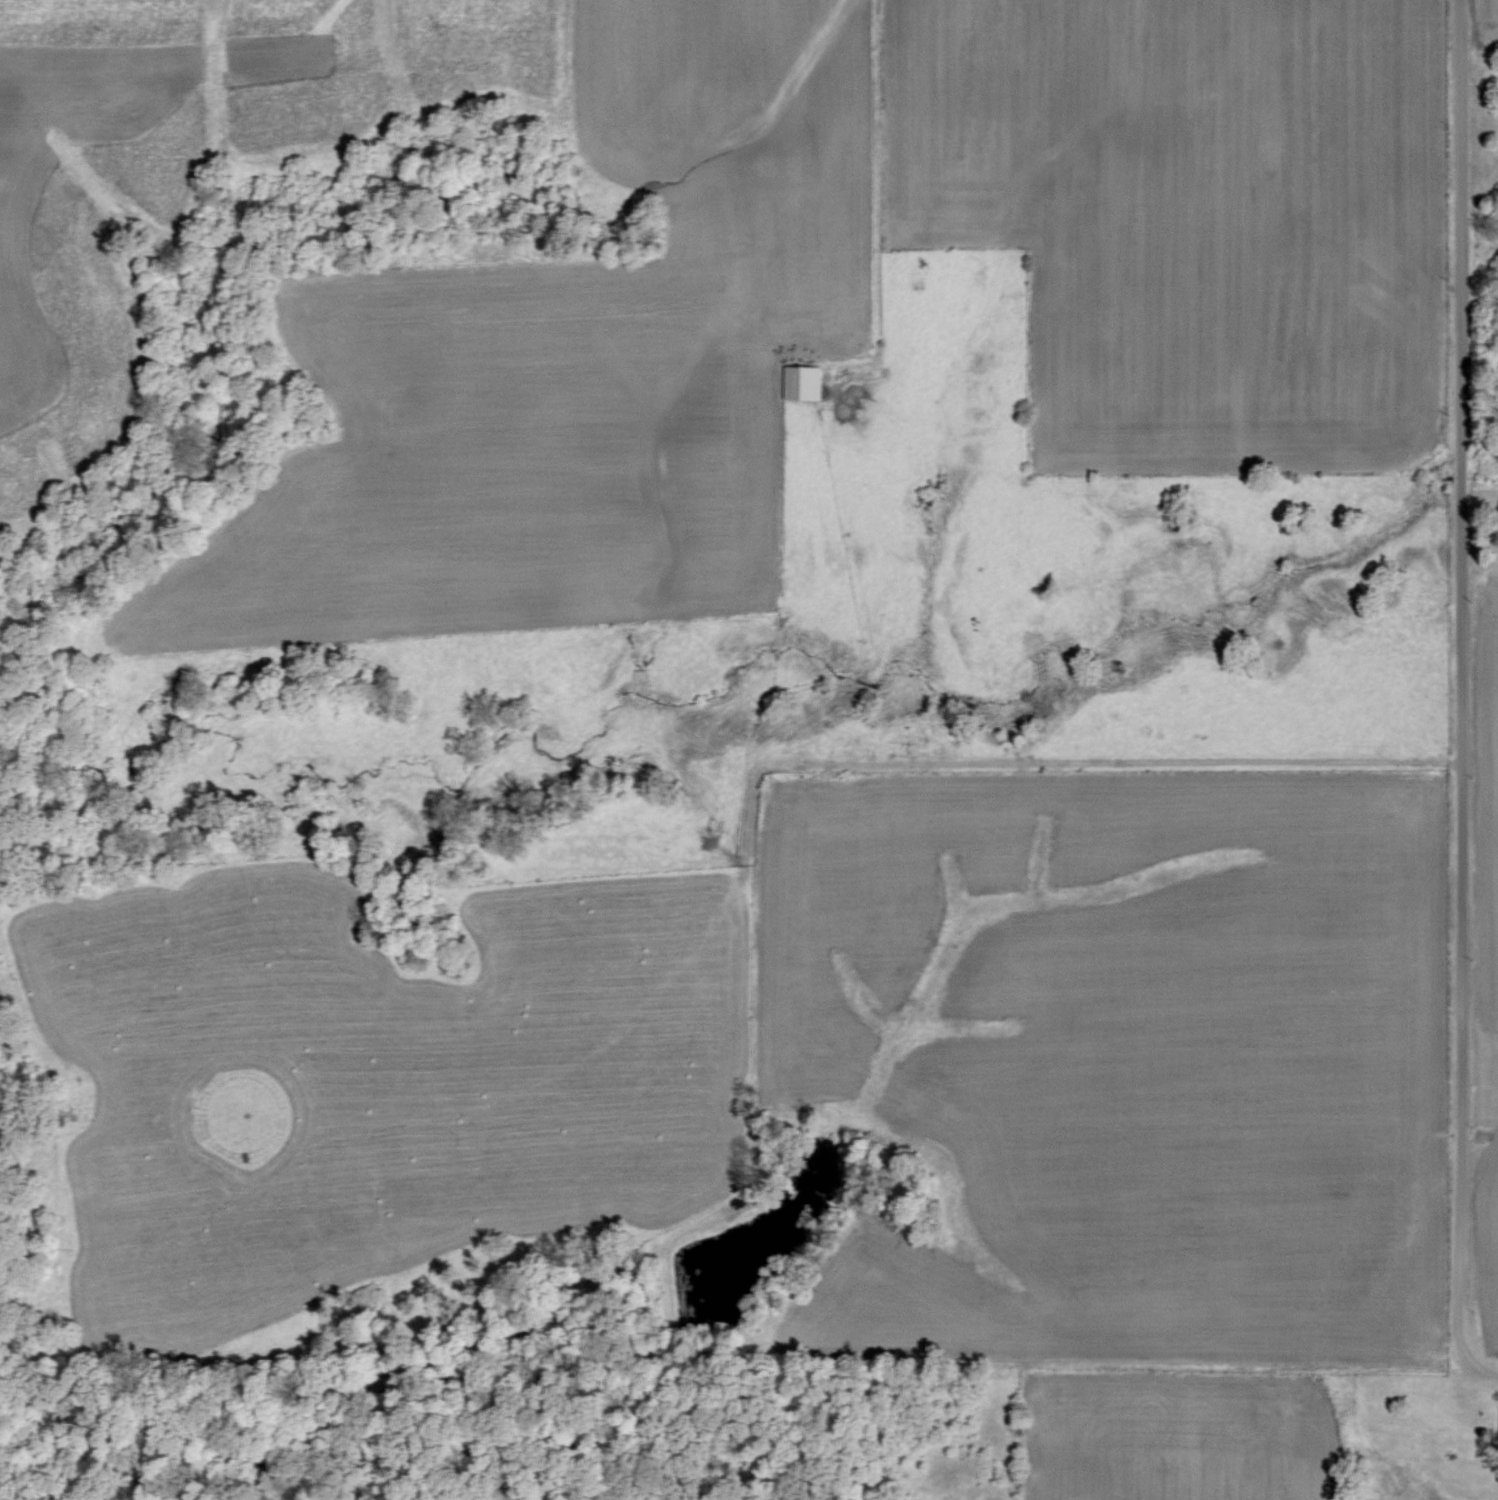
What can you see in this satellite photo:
building: (798, 383)
road: (1480, 501)
road: (1462, 684)
road: (1486, 1368)
building: (1497, 1422)

